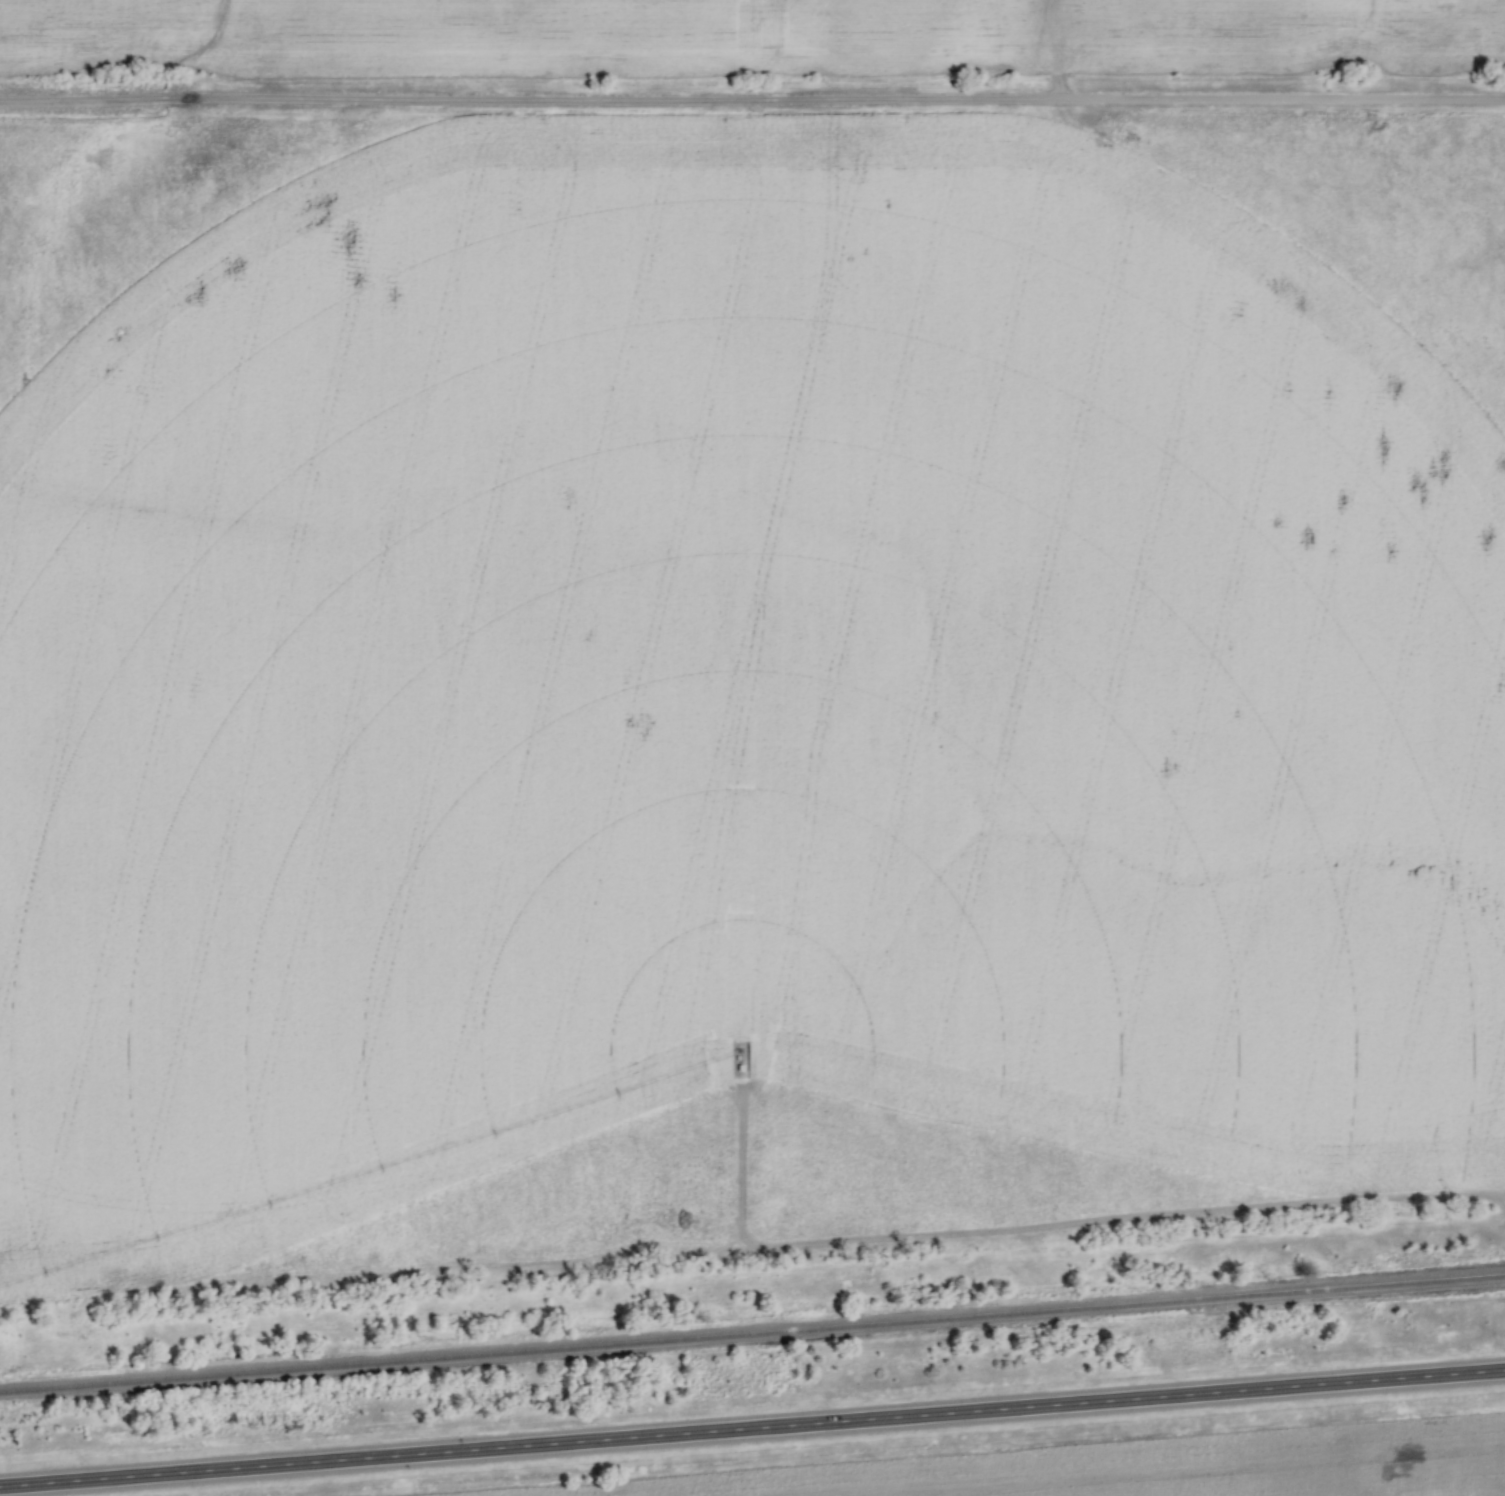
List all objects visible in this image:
road: (1059, 49)
road: (752, 98)
railway: (752, 1350)
road: (752, 1430)

